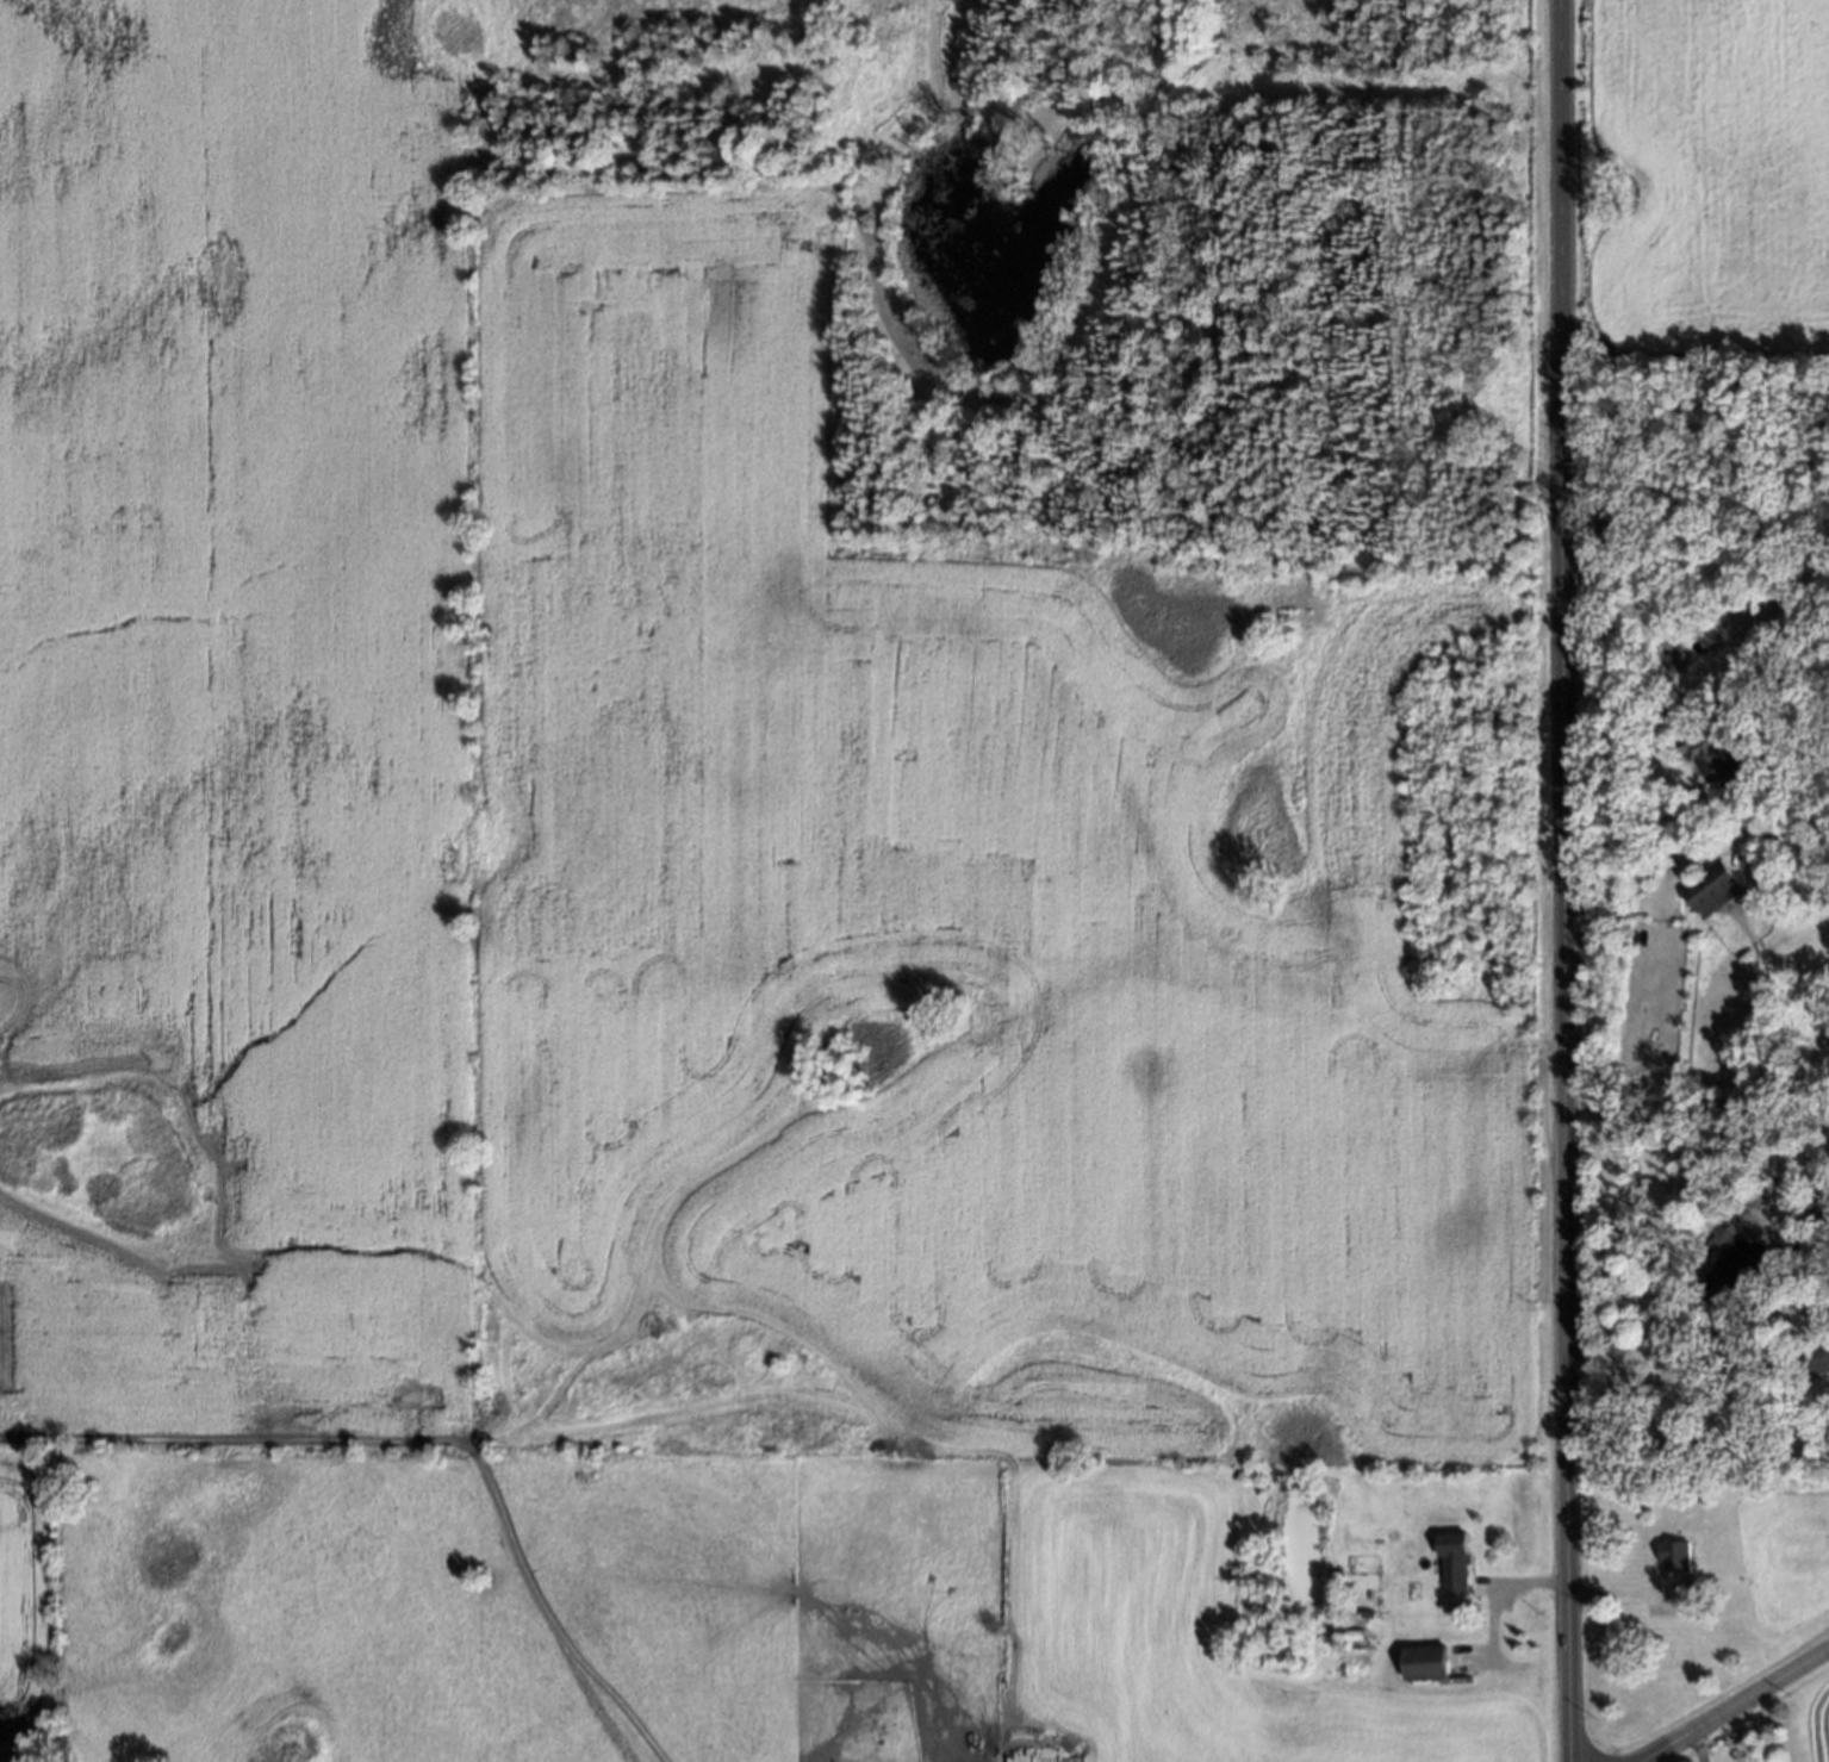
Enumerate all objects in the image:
building: (1713, 755)
road: (1564, 880)
building: (1711, 889)
road: (1649, 897)
building: (1802, 1352)
building: (1741, 1482)
building: (1674, 1555)
building: (1455, 1564)
road: (1503, 1584)
building: (1362, 1614)
building: (1349, 1631)
building: (1426, 1663)
road: (1736, 1704)

